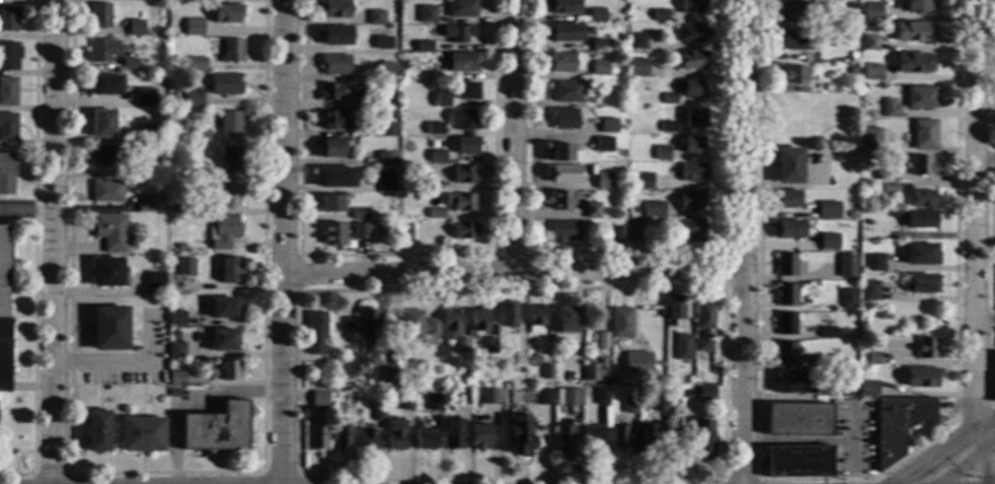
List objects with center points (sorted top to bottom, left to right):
building: (136, 0)
building: (692, 6)
building: (853, 6)
building: (914, 6)
building: (562, 7)
building: (333, 8)
building: (461, 9)
building: (873, 11)
building: (794, 12)
building: (227, 14)
building: (426, 14)
building: (100, 15)
building: (597, 15)
building: (660, 15)
building: (376, 17)
building: (8, 19)
building: (136, 27)
building: (194, 27)
building: (913, 31)
building: (564, 32)
building: (691, 32)
building: (459, 34)
building: (334, 35)
building: (795, 40)
building: (638, 41)
building: (382, 43)
building: (870, 43)
building: (600, 45)
building: (423, 46)
building: (102, 50)
building: (232, 51)
building: (9, 56)
building: (852, 56)
building: (692, 60)
building: (462, 62)
building: (562, 62)
building: (913, 62)
building: (130, 64)
building: (195, 64)
building: (335, 64)
building: (162, 68)
building: (600, 68)
building: (638, 68)
building: (852, 70)
building: (385, 71)
building: (874, 72)
building: (430, 74)
building: (792, 75)
building: (225, 84)
building: (105, 85)
building: (589, 85)
building: (829, 86)
building: (466, 90)
building: (693, 90)
building: (8, 91)
building: (330, 92)
building: (566, 92)
building: (145, 97)
building: (855, 97)
building: (920, 97)
building: (190, 98)
building: (384, 98)
building: (669, 99)
building: (441, 100)
building: (890, 108)
building: (389, 115)
building: (828, 115)
building: (695, 118)
building: (357, 119)
building: (462, 119)
building: (563, 119)
building: (333, 120)
building: (105, 123)
building: (230, 124)
building: (795, 124)
building: (608, 126)
building: (817, 126)
building: (8, 127)
building: (670, 128)
building: (387, 129)
building: (434, 129)
building: (849, 129)
building: (835, 131)
building: (147, 133)
building: (923, 134)
road: (512, 135)
building: (200, 137)
building: (870, 140)
building: (602, 144)
building: (466, 145)
building: (693, 145)
building: (330, 148)
building: (560, 153)
building: (661, 153)
building: (105, 154)
building: (437, 156)
building: (230, 158)
building: (386, 158)
road: (985, 161)
building: (788, 166)
building: (922, 166)
building: (136, 170)
building: (193, 172)
building: (692, 172)
building: (7, 173)
building: (563, 174)
building: (463, 175)
building: (878, 175)
building: (889, 175)
building: (336, 178)
building: (602, 181)
building: (641, 181)
building: (386, 182)
building: (433, 185)
building: (889, 189)
building: (107, 191)
building: (229, 194)
building: (647, 194)
building: (785, 199)
building: (922, 199)
building: (560, 200)
building: (690, 200)
building: (460, 201)
building: (145, 204)
building: (331, 204)
road: (991, 206)
building: (197, 208)
building: (653, 209)
building: (178, 210)
building: (591, 210)
building: (827, 210)
road: (26, 211)
building: (436, 213)
building: (360, 214)
building: (805, 215)
building: (919, 219)
road: (974, 221)
building: (845, 228)
building: (788, 229)
building: (691, 230)
building: (464, 231)
building: (563, 231)
building: (111, 232)
building: (344, 232)
building: (405, 232)
building: (224, 233)
building: (617, 234)
building: (634, 234)
road: (52, 242)
road: (288, 242)
road: (744, 242)
building: (829, 242)
building: (919, 254)
building: (875, 263)
building: (786, 264)
building: (846, 266)
building: (185, 267)
road: (515, 269)
building: (230, 270)
building: (108, 273)
building: (154, 280)
building: (921, 284)
building: (869, 291)
building: (786, 295)
building: (848, 298)
building: (224, 308)
building: (674, 309)
building: (4, 310)
building: (507, 313)
building: (535, 318)
building: (176, 319)
building: (480, 320)
building: (565, 321)
building: (368, 323)
building: (620, 323)
road: (984, 323)
building: (451, 324)
building: (787, 324)
building: (417, 325)
building: (109, 329)
building: (703, 330)
building: (173, 332)
building: (316, 332)
building: (827, 332)
building: (223, 340)
building: (602, 341)
building: (461, 346)
building: (490, 346)
building: (682, 347)
building: (925, 349)
building: (176, 350)
building: (786, 353)
building: (630, 358)
building: (871, 358)
road: (120, 359)
building: (517, 360)
building: (827, 362)
building: (680, 365)
building: (225, 371)
building: (592, 371)
building: (546, 372)
building: (568, 376)
building: (390, 377)
building: (922, 377)
building: (176, 378)
building: (695, 379)
building: (557, 382)
building: (789, 382)
building: (994, 385)
building: (668, 387)
building: (868, 388)
building: (833, 391)
building: (705, 392)
building: (174, 393)
building: (683, 393)
building: (489, 396)
building: (601, 396)
building: (460, 397)
building: (544, 397)
building: (567, 397)
building: (319, 399)
road: (192, 400)
building: (406, 402)
building: (433, 402)
building: (659, 404)
building: (679, 404)
building: (631, 405)
building: (644, 405)
building: (378, 413)
road: (973, 414)
building: (631, 419)
building: (798, 420)
building: (898, 424)
building: (216, 428)
building: (97, 431)
building: (453, 433)
building: (141, 434)
building: (396, 435)
road: (985, 435)
building: (519, 436)
building: (592, 436)
building: (646, 436)
building: (702, 436)
building: (481, 437)
building: (317, 438)
building: (342, 438)
building: (619, 438)
road: (852, 438)
parking lot: (853, 438)
building: (426, 439)
building: (368, 440)
road: (797, 440)
building: (563, 442)
road: (935, 460)
building: (798, 462)
road: (965, 465)
road: (982, 467)
road: (980, 471)
traffic signals: (908, 478)
road: (924, 478)
road: (836, 480)

